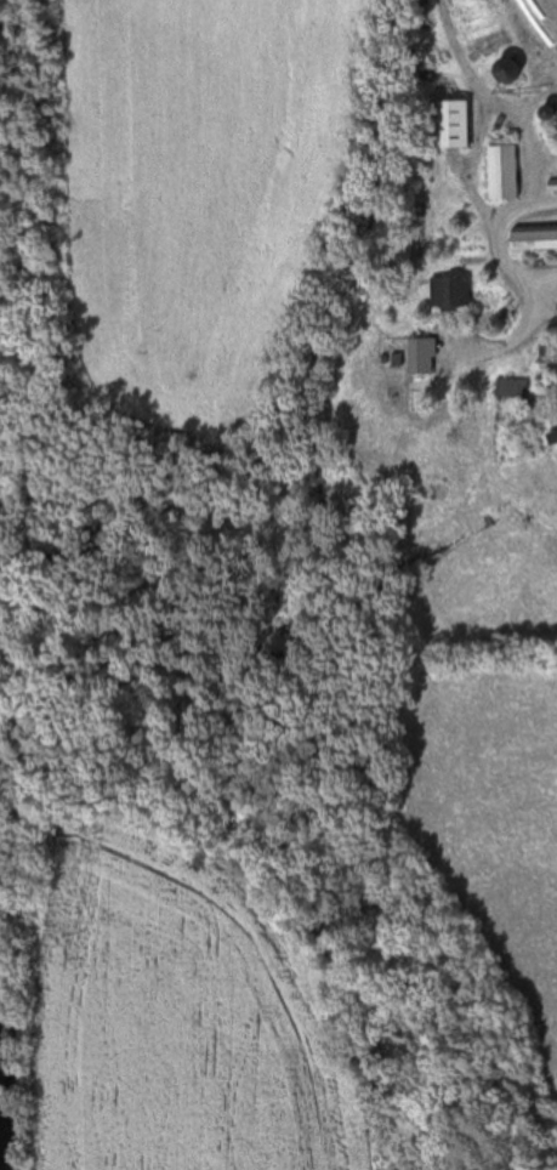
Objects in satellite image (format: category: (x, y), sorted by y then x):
building: (507, 70)
building: (451, 124)
building: (504, 172)
road: (500, 229)
building: (534, 240)
building: (451, 294)
building: (422, 356)
building: (512, 387)
river: (19, 1056)

